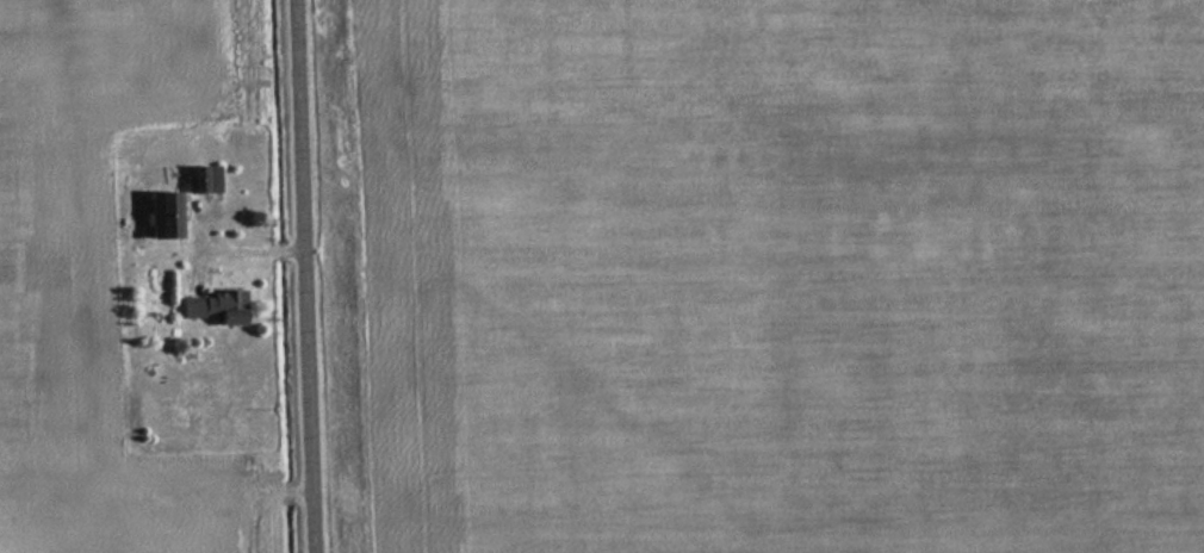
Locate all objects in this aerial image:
building: (163, 216)
road: (237, 250)
crop: (89, 265)
crop: (783, 274)
road: (304, 276)

